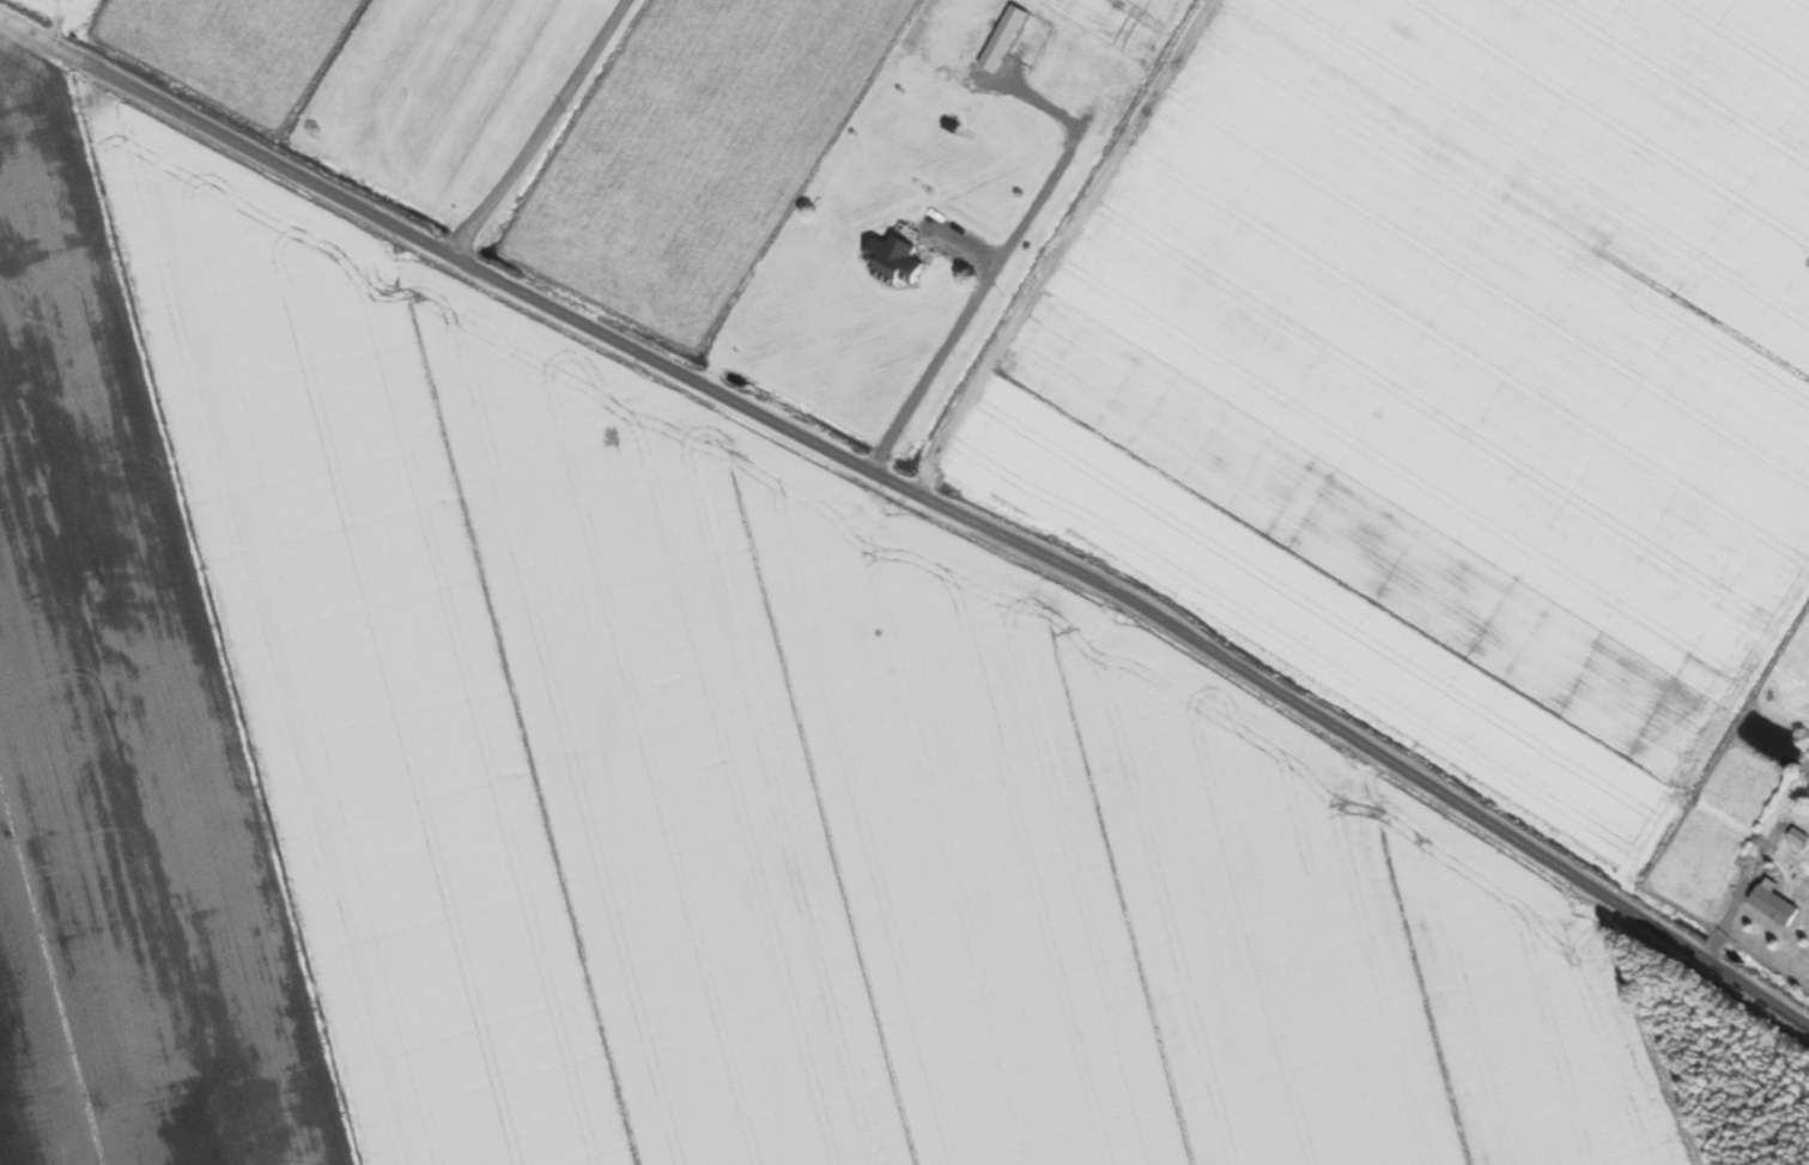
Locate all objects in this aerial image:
road: (545, 128)
building: (896, 259)
road: (998, 265)
road: (918, 492)
building: (1775, 904)

